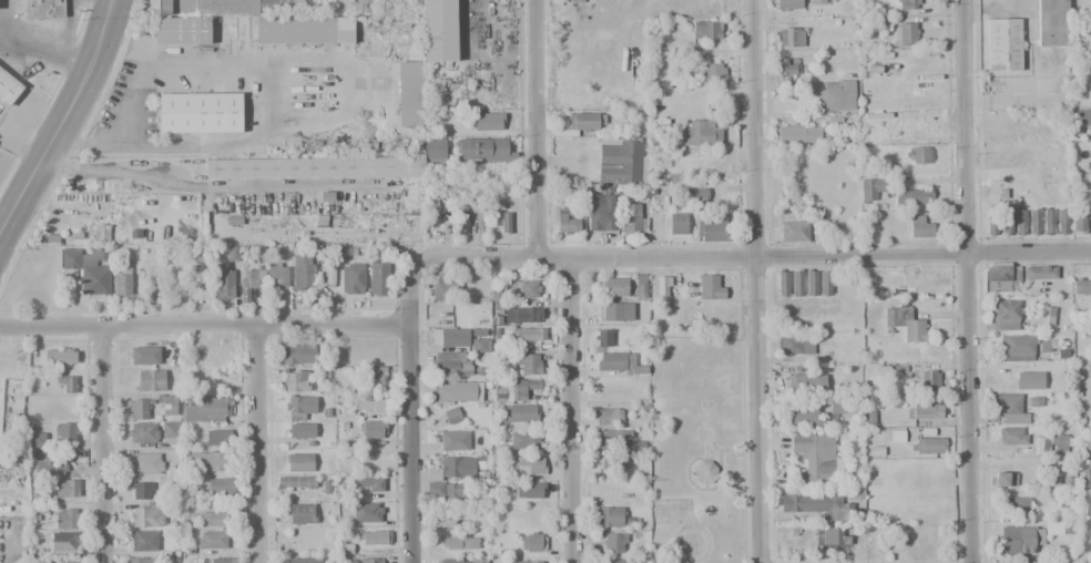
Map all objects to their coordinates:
building: (817, 2)
building: (788, 4)
building: (907, 4)
building: (223, 7)
building: (43, 9)
building: (1054, 23)
building: (877, 24)
building: (180, 30)
building: (303, 30)
building: (438, 30)
building: (706, 30)
building: (904, 34)
building: (789, 37)
building: (1003, 44)
building: (785, 65)
building: (712, 72)
building: (8, 88)
building: (409, 89)
road: (49, 95)
building: (836, 95)
building: (198, 112)
building: (1080, 117)
road: (61, 121)
building: (488, 121)
building: (583, 121)
road: (536, 129)
building: (700, 132)
building: (799, 134)
building: (482, 150)
building: (436, 155)
building: (918, 155)
building: (621, 162)
building: (313, 166)
building: (498, 173)
building: (871, 187)
building: (912, 195)
building: (689, 197)
building: (601, 213)
building: (432, 215)
building: (477, 216)
building: (1048, 217)
building: (632, 221)
building: (1020, 221)
building: (1033, 221)
building: (1062, 221)
building: (506, 222)
building: (565, 222)
building: (1005, 222)
building: (462, 223)
building: (676, 223)
building: (991, 223)
building: (1078, 223)
building: (920, 225)
building: (711, 229)
building: (794, 232)
building: (100, 233)
building: (232, 254)
road: (748, 260)
building: (88, 269)
building: (302, 272)
building: (1039, 273)
building: (328, 276)
building: (277, 277)
building: (351, 277)
building: (380, 277)
building: (999, 277)
road: (755, 280)
building: (122, 281)
building: (173, 281)
building: (224, 281)
building: (824, 281)
road: (961, 281)
building: (796, 283)
building: (249, 284)
building: (782, 284)
building: (810, 284)
building: (1081, 285)
building: (640, 286)
building: (663, 286)
building: (711, 286)
building: (612, 287)
building: (522, 289)
building: (446, 290)
building: (1081, 305)
building: (616, 310)
building: (526, 314)
building: (1005, 315)
building: (905, 324)
road: (201, 332)
building: (528, 334)
building: (602, 337)
building: (452, 338)
building: (479, 340)
building: (795, 345)
building: (1022, 346)
building: (215, 354)
building: (297, 354)
building: (144, 355)
building: (59, 357)
building: (451, 364)
building: (619, 364)
building: (528, 365)
building: (1089, 369)
building: (374, 376)
building: (930, 379)
building: (150, 380)
building: (1029, 380)
building: (295, 381)
building: (67, 382)
building: (805, 383)
building: (520, 389)
building: (456, 391)
building: (370, 403)
building: (167, 408)
building: (300, 408)
building: (840, 408)
building: (137, 409)
building: (1010, 409)
building: (205, 410)
building: (924, 411)
road: (569, 412)
building: (521, 413)
building: (451, 416)
road: (406, 417)
building: (606, 417)
building: (803, 417)
building: (169, 430)
building: (374, 430)
building: (299, 431)
building: (64, 432)
building: (142, 432)
building: (1012, 436)
building: (217, 437)
building: (610, 437)
building: (897, 438)
building: (523, 439)
building: (37, 440)
building: (455, 440)
building: (1088, 442)
building: (927, 444)
building: (634, 446)
road: (108, 448)
road: (261, 448)
building: (813, 460)
building: (208, 461)
building: (612, 461)
building: (299, 462)
building: (144, 463)
building: (50, 465)
building: (527, 465)
building: (453, 468)
building: (480, 469)
building: (704, 472)
building: (1088, 474)
building: (1001, 479)
building: (295, 482)
building: (367, 484)
building: (220, 485)
building: (67, 488)
building: (529, 490)
building: (141, 491)
building: (445, 491)
building: (1064, 502)
building: (816, 504)
building: (1016, 506)
building: (146, 513)
building: (302, 513)
building: (367, 513)
building: (608, 516)
building: (65, 518)
building: (212, 519)
building: (477, 521)
building: (1058, 528)
building: (375, 538)
building: (836, 538)
building: (1018, 539)
building: (211, 540)
building: (144, 541)
building: (63, 542)
building: (458, 542)
building: (614, 542)
building: (532, 545)
building: (141, 560)
building: (218, 560)
building: (303, 560)
building: (370, 560)
building: (57, 561)
building: (461, 561)
building: (618, 561)
building: (522, 562)

